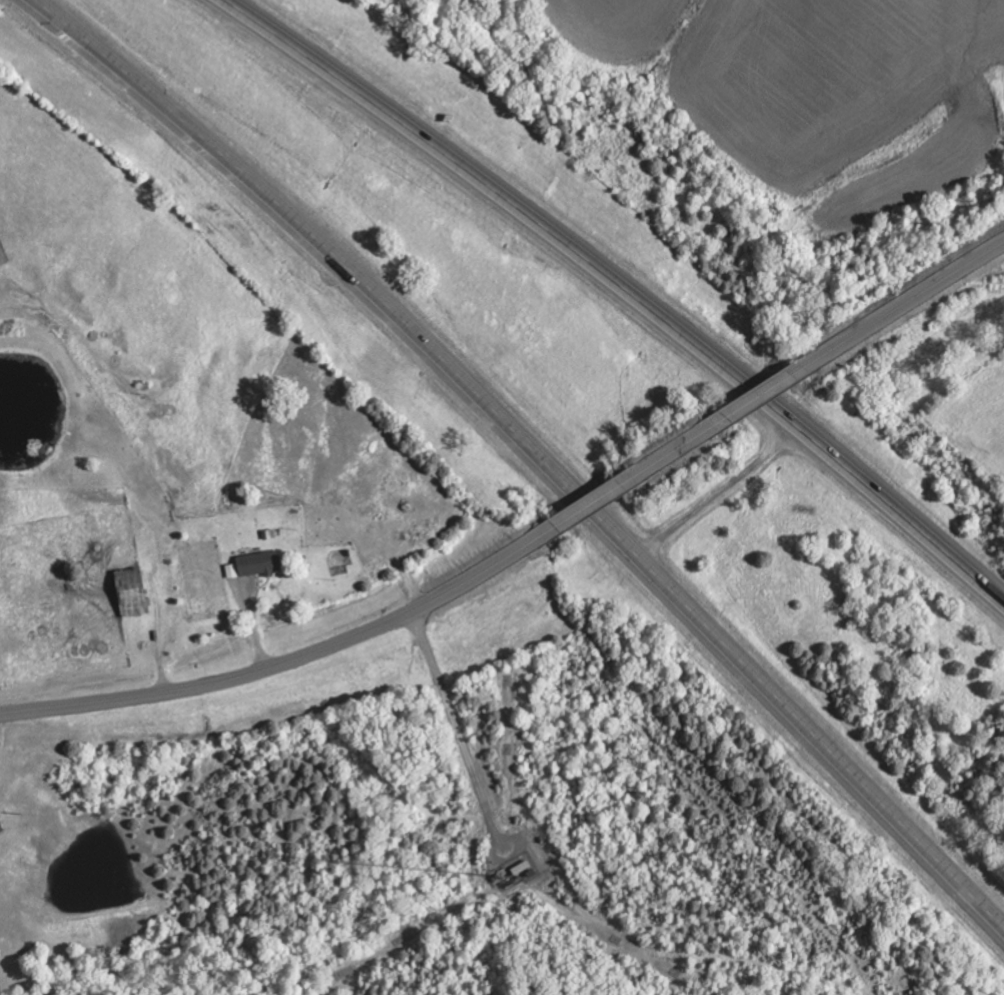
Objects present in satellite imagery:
road: (623, 288)
road: (906, 304)
road: (761, 393)
road: (531, 450)
road: (671, 451)
road: (586, 506)
building: (258, 566)
building: (135, 594)
road: (284, 662)
building: (2, 829)

